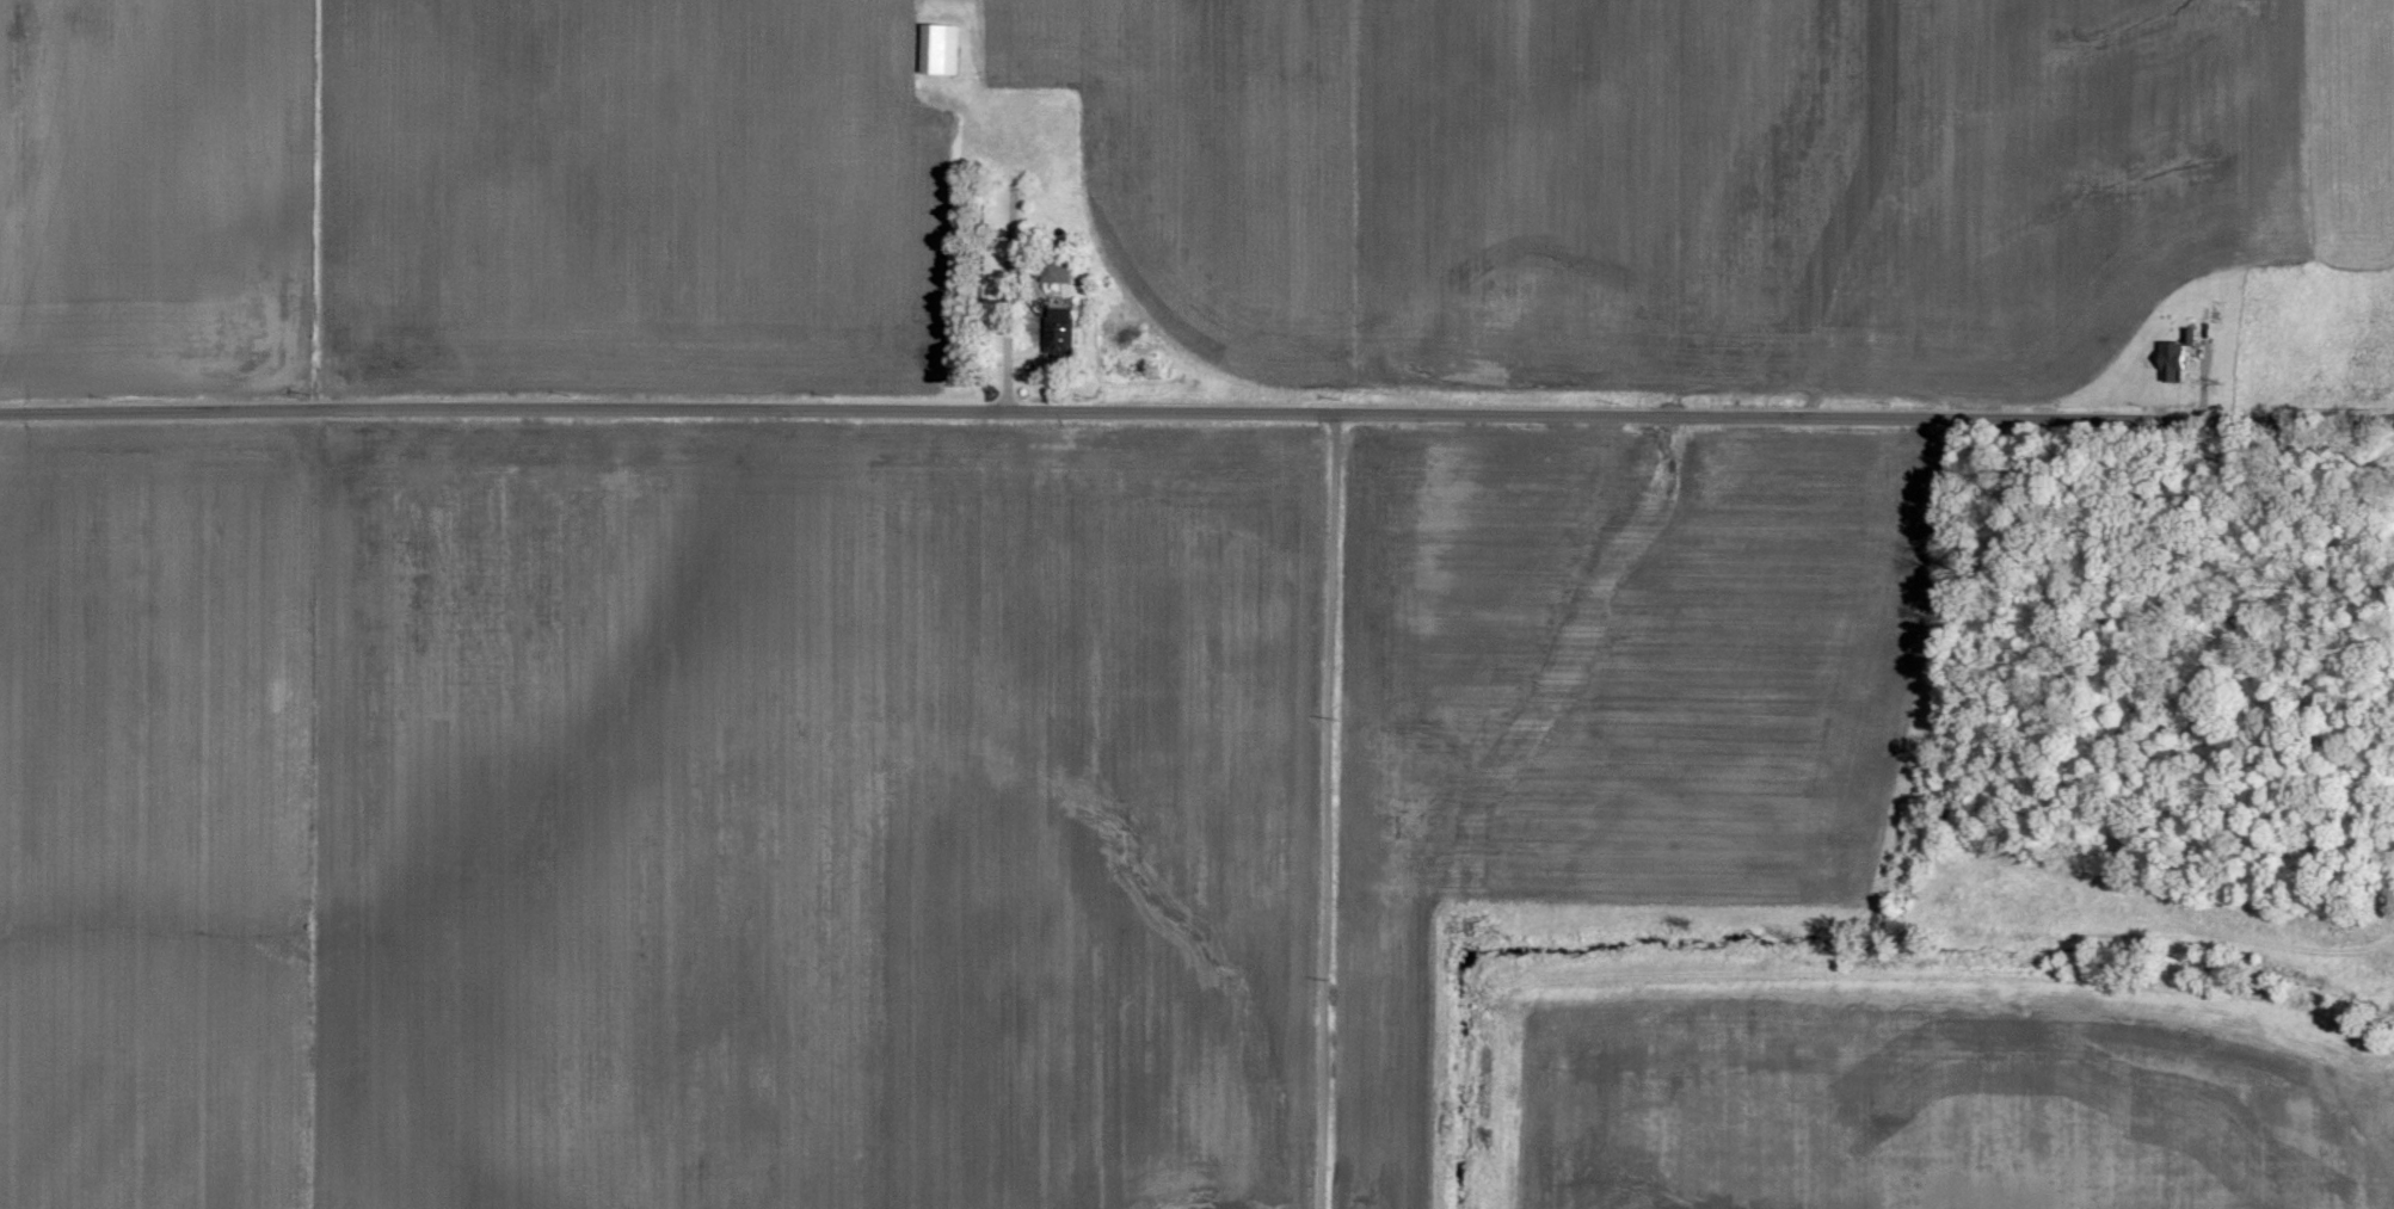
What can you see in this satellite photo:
building: (938, 50)
building: (1054, 269)
road: (1196, 411)
road: (1330, 809)

